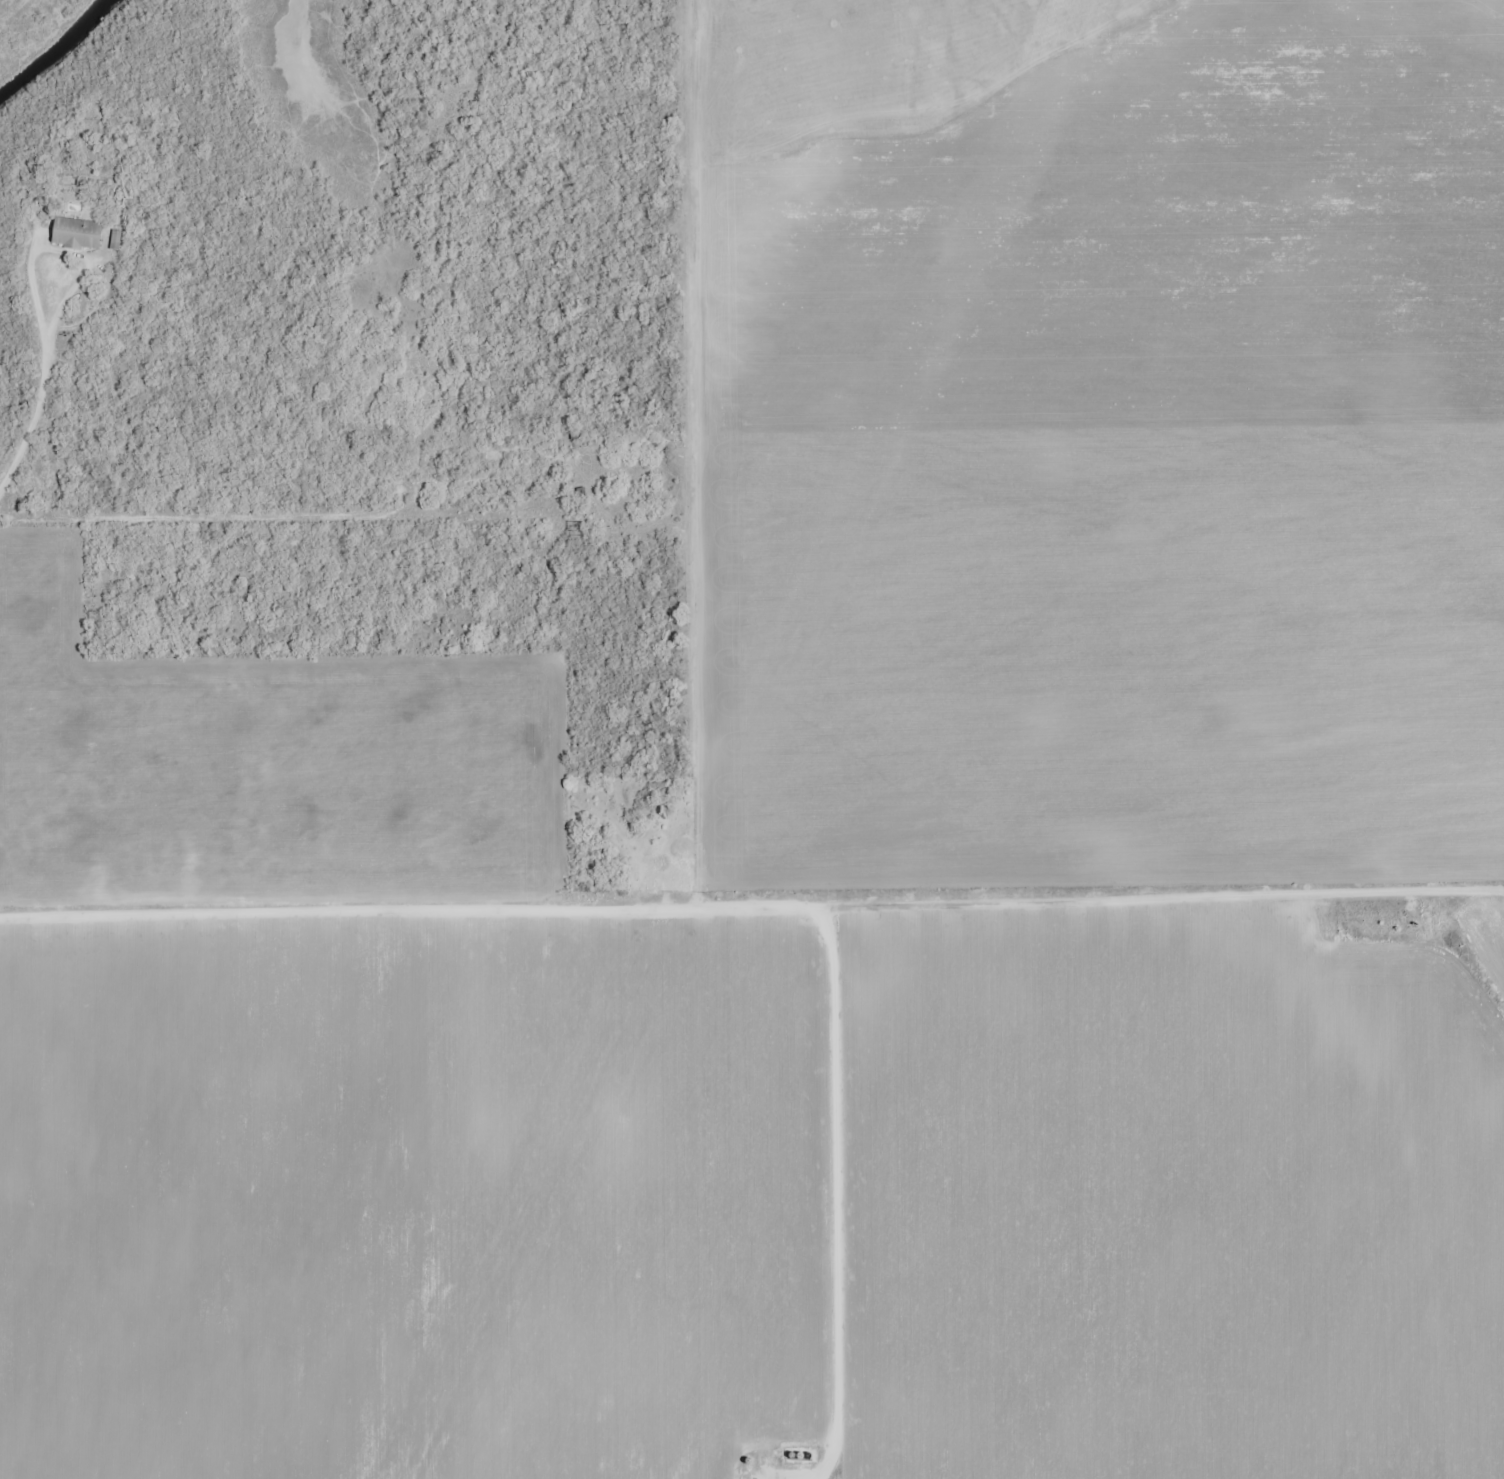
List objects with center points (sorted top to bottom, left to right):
building: (77, 235)
road: (43, 378)
road: (752, 906)

